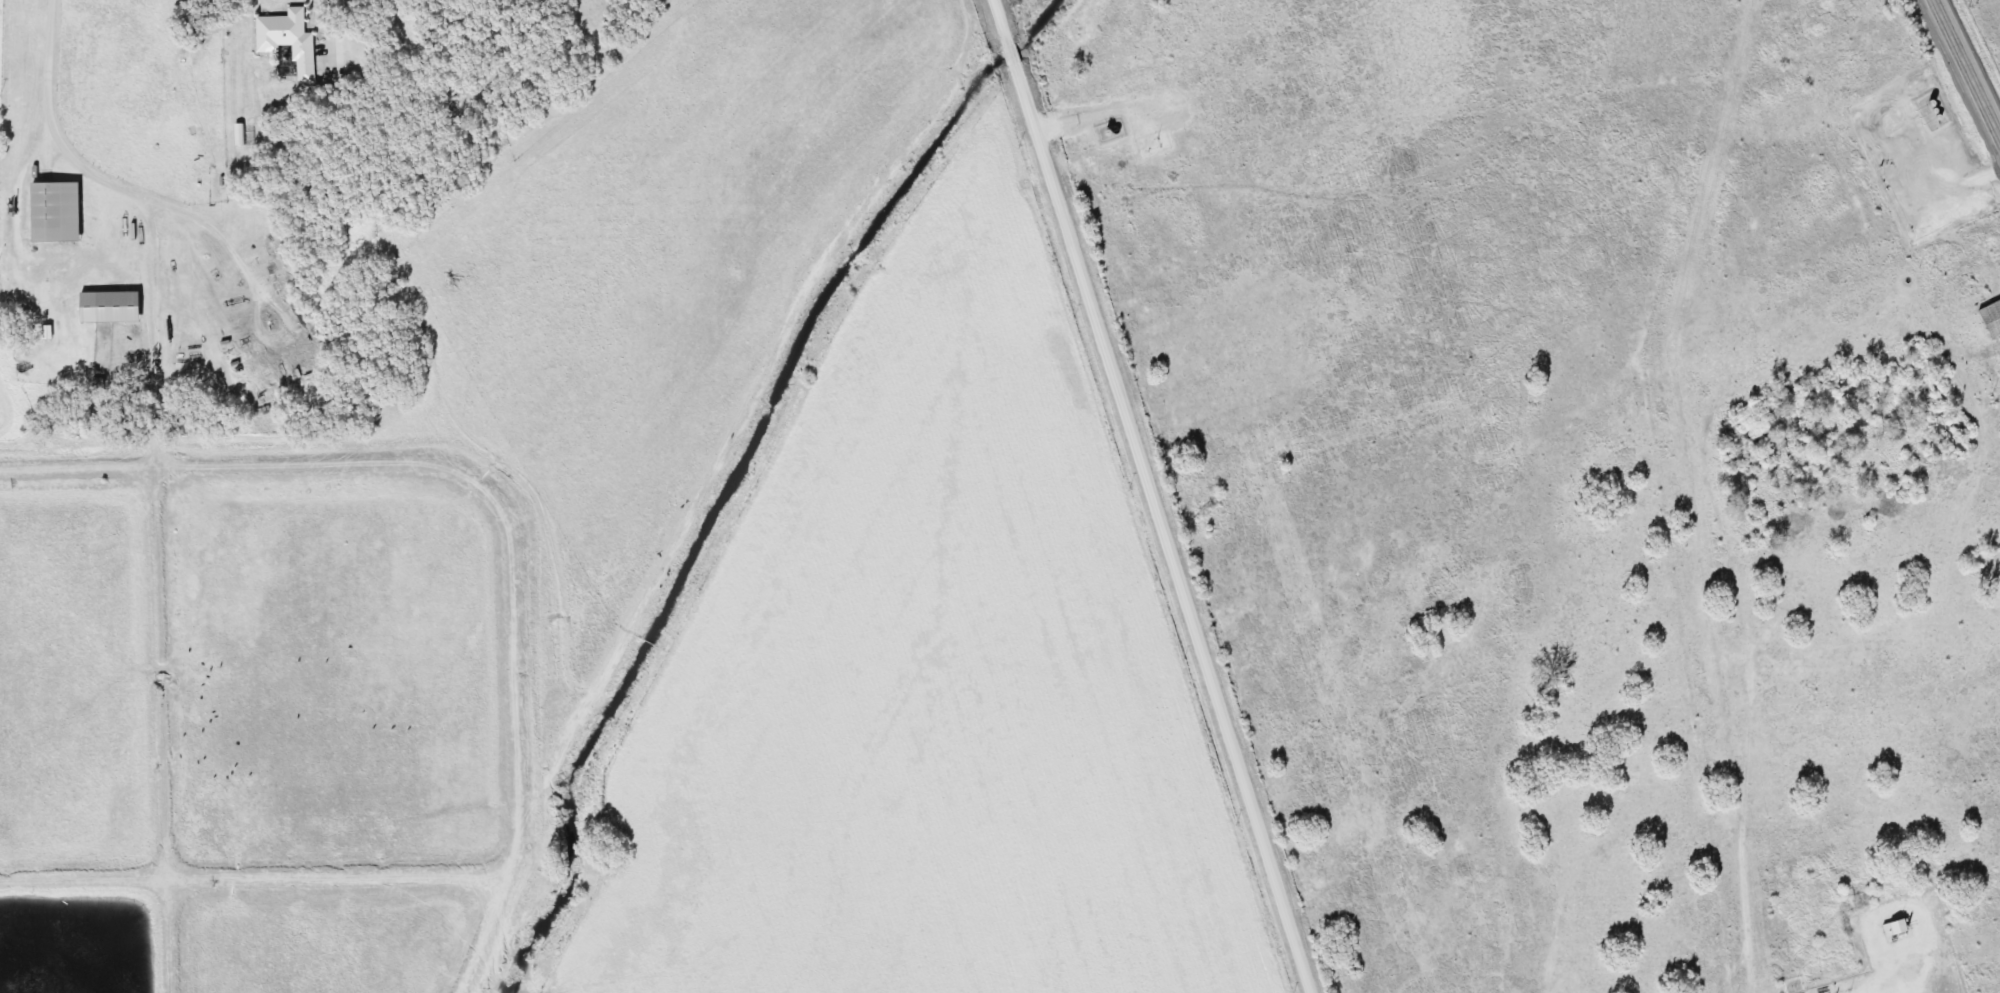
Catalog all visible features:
power tower: (1971, 3)
building: (282, 40)
road: (1966, 70)
road: (48, 115)
building: (48, 211)
building: (103, 306)
building: (1989, 318)
road: (1974, 356)
building: (1998, 360)
road: (1151, 496)
building: (1893, 930)

